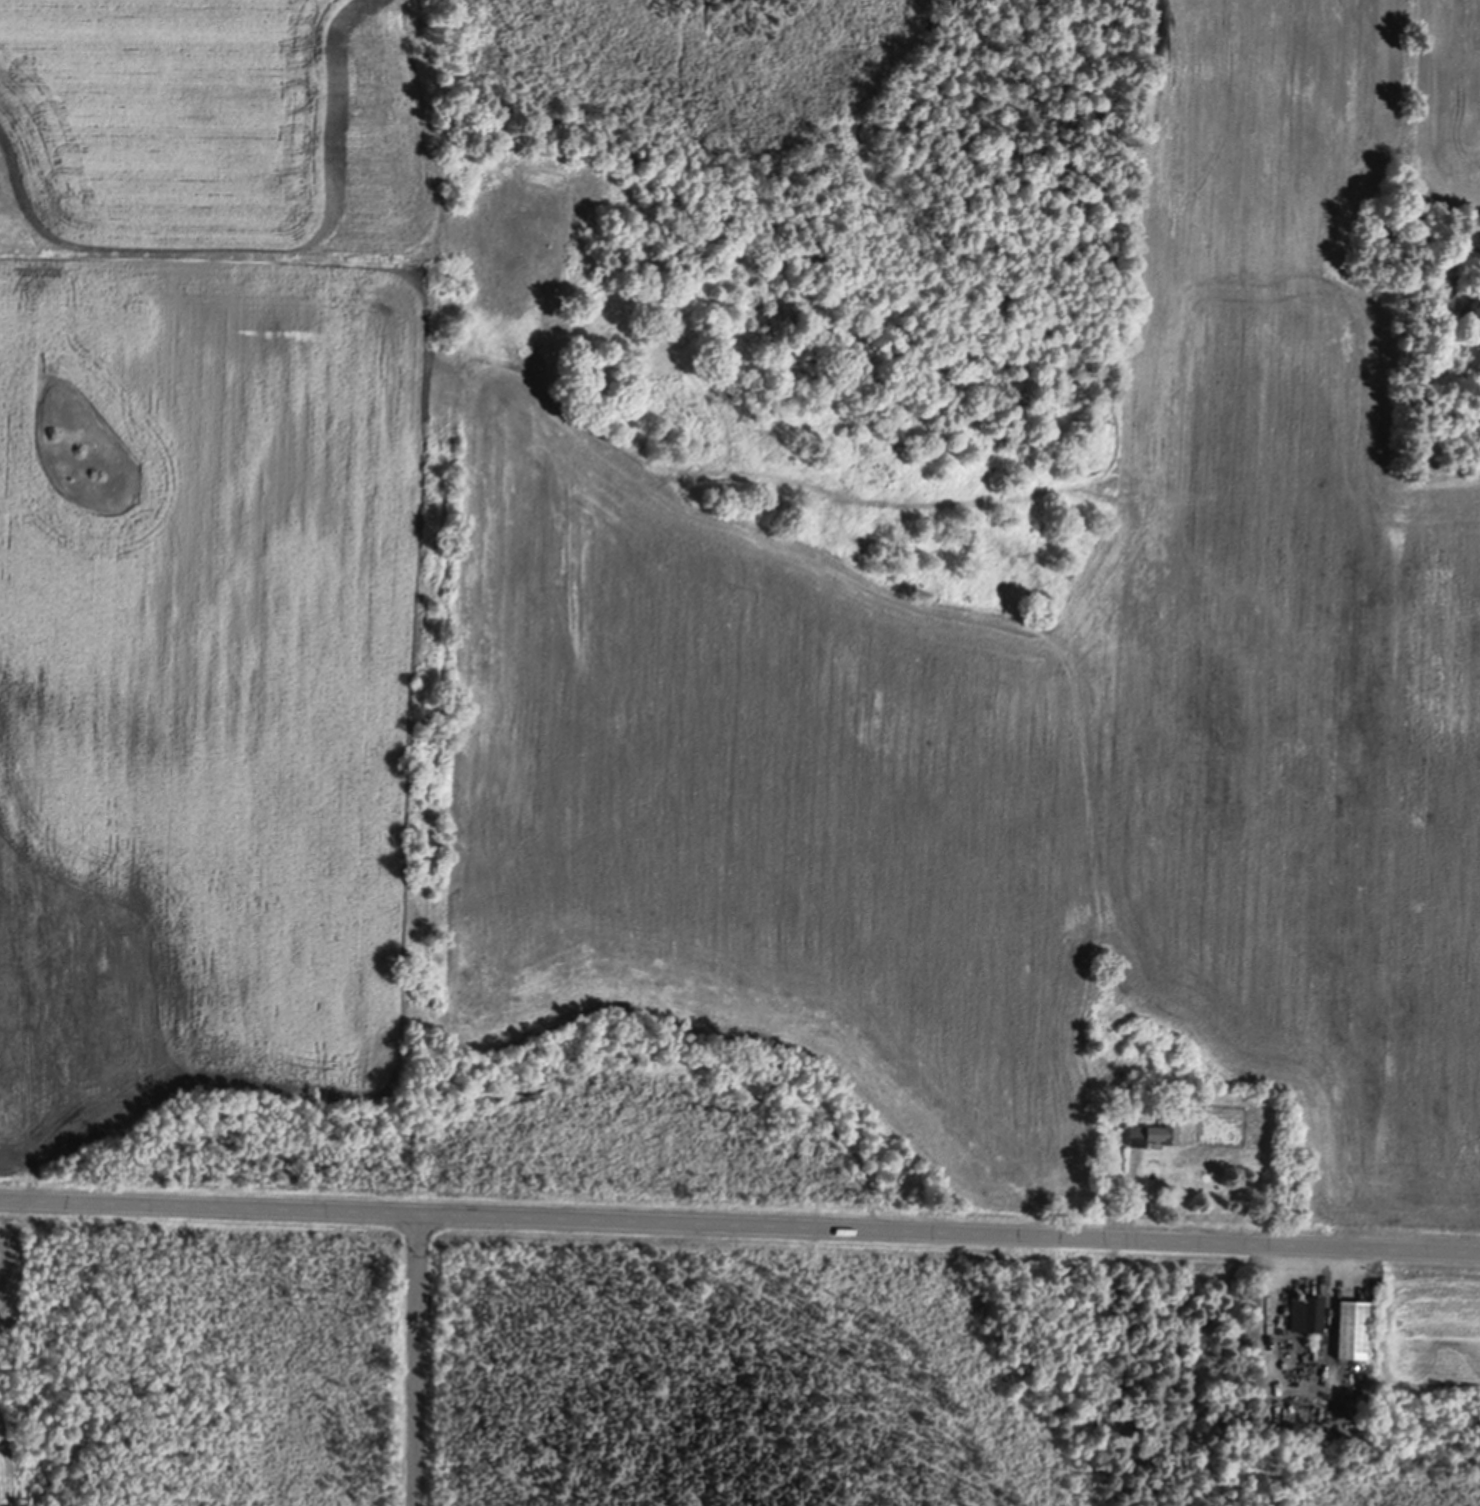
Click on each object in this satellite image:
building: (1096, 1043)
building: (1138, 1095)
building: (1124, 1121)
building: (1154, 1133)
road: (740, 1222)
building: (1308, 1313)
building: (1353, 1330)
building: (1371, 1347)
road: (416, 1359)

